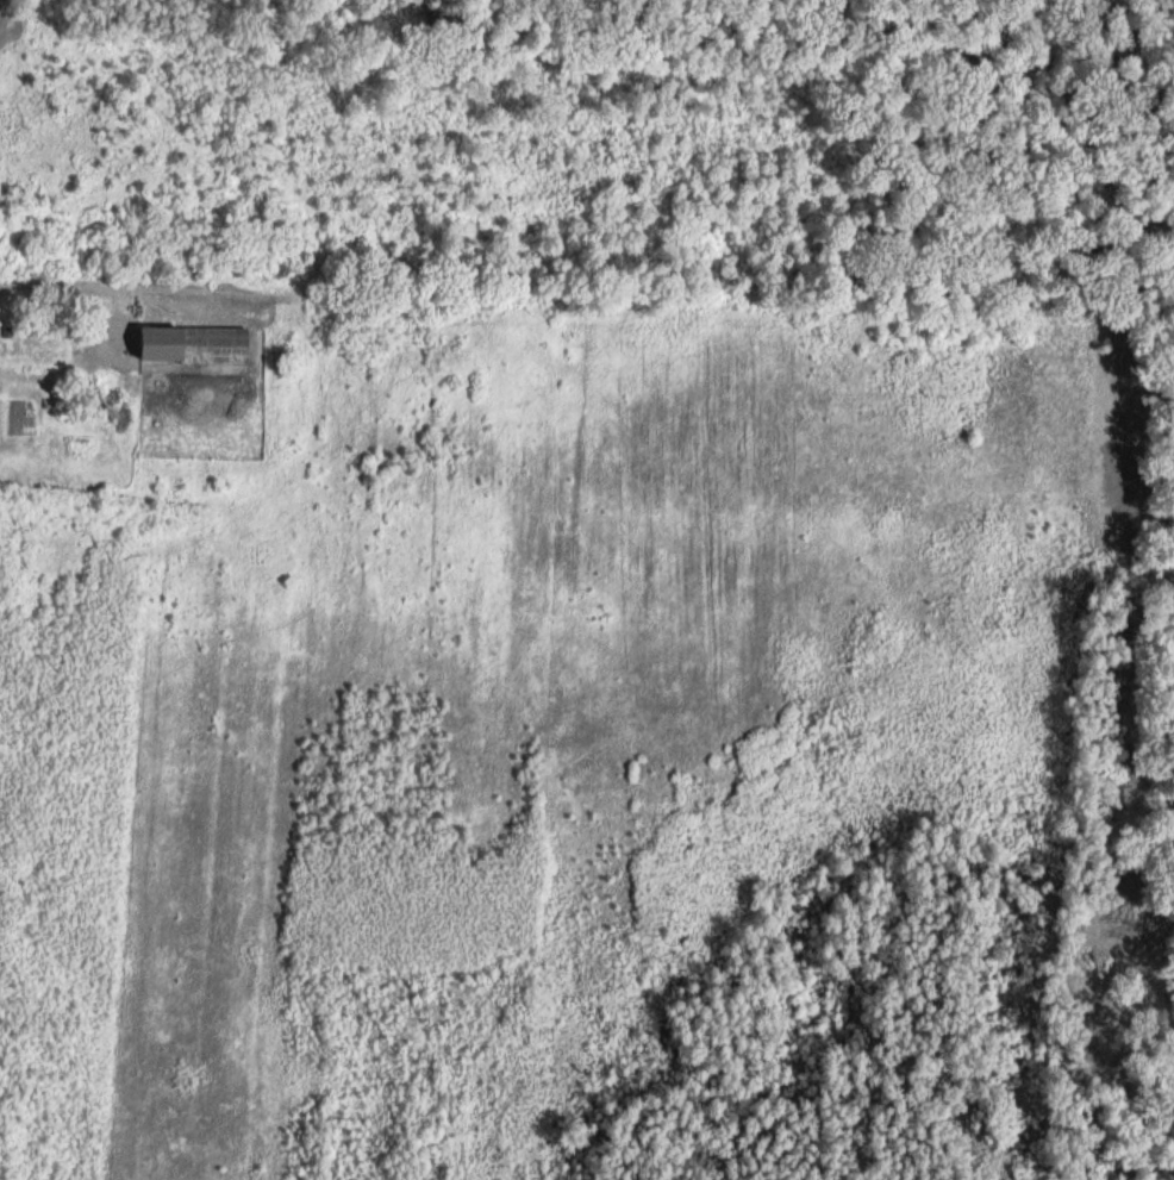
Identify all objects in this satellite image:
road: (117, 286)
building: (188, 346)

